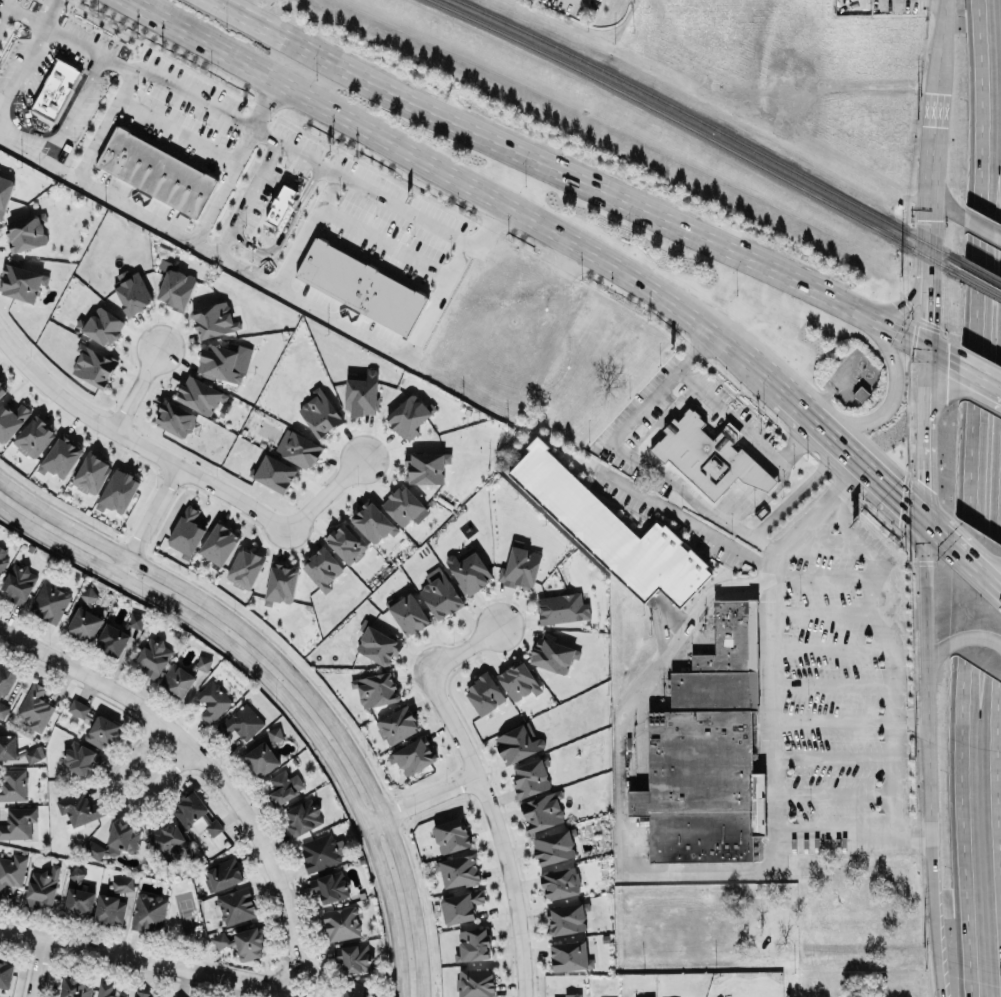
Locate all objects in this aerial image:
road: (4, 18)
road: (34, 25)
road: (939, 43)
road: (21, 73)
building: (57, 90)
road: (171, 92)
road: (73, 108)
railway: (711, 124)
road: (177, 128)
railway: (698, 130)
road: (478, 133)
road: (39, 156)
road: (419, 160)
building: (157, 171)
road: (928, 175)
road: (223, 184)
road: (252, 187)
building: (5, 192)
road: (939, 197)
building: (281, 204)
road: (414, 208)
road: (323, 215)
road: (981, 227)
building: (26, 232)
road: (202, 241)
road: (390, 246)
road: (241, 263)
railway: (980, 270)
building: (21, 280)
railway: (979, 283)
building: (360, 285)
road: (806, 286)
building: (176, 288)
building: (133, 292)
road: (904, 299)
road: (924, 306)
building: (214, 319)
building: (102, 325)
road: (895, 331)
road: (730, 342)
traffic signals: (923, 347)
road: (415, 349)
road: (940, 356)
building: (225, 361)
building: (94, 365)
road: (766, 373)
road: (979, 377)
road: (139, 386)
building: (2, 389)
road: (828, 391)
building: (362, 393)
building: (861, 393)
building: (199, 394)
road: (889, 396)
road: (800, 406)
building: (320, 413)
building: (409, 415)
building: (175, 418)
building: (11, 420)
road: (922, 434)
road: (746, 435)
building: (34, 437)
building: (300, 449)
building: (709, 455)
building: (61, 457)
building: (425, 467)
road: (182, 468)
building: (275, 472)
road: (868, 472)
building: (92, 473)
road: (668, 478)
building: (118, 491)
road: (748, 491)
road: (970, 498)
building: (403, 504)
road: (686, 519)
road: (147, 520)
building: (373, 521)
traffic signals: (922, 522)
building: (611, 530)
building: (187, 531)
road: (936, 534)
road: (765, 541)
building: (346, 542)
building: (219, 543)
building: (4, 556)
building: (520, 566)
building: (245, 567)
building: (322, 568)
road: (975, 569)
building: (469, 570)
road: (823, 575)
building: (19, 582)
building: (282, 582)
building: (441, 596)
building: (50, 601)
building: (82, 601)
road: (820, 607)
building: (562, 608)
building: (409, 613)
road: (873, 616)
building: (85, 623)
road: (973, 634)
building: (113, 640)
building: (378, 644)
road: (924, 645)
road: (828, 647)
building: (552, 653)
building: (154, 655)
road: (934, 655)
building: (203, 663)
road: (290, 677)
building: (6, 679)
building: (177, 680)
building: (519, 681)
road: (833, 686)
building: (376, 689)
road: (278, 692)
building: (484, 693)
building: (213, 700)
road: (775, 703)
building: (36, 707)
building: (3, 708)
road: (835, 719)
building: (242, 721)
building: (95, 724)
building: (397, 725)
road: (994, 729)
building: (275, 733)
building: (518, 742)
building: (8, 746)
building: (708, 750)
building: (27, 753)
building: (415, 755)
building: (80, 757)
building: (262, 758)
road: (835, 758)
road: (215, 774)
road: (894, 774)
building: (531, 777)
road: (620, 780)
building: (13, 784)
building: (285, 786)
road: (482, 790)
road: (837, 792)
road: (121, 795)
road: (429, 797)
road: (927, 798)
building: (79, 808)
building: (543, 810)
building: (196, 814)
building: (303, 818)
road: (373, 821)
building: (19, 822)
building: (451, 835)
building: (124, 836)
building: (170, 842)
building: (554, 846)
road: (929, 848)
building: (319, 852)
building: (12, 870)
building: (459, 870)
building: (224, 873)
building: (74, 877)
building: (561, 882)
building: (122, 884)
building: (43, 886)
building: (330, 887)
building: (79, 901)
building: (236, 905)
building: (461, 906)
building: (110, 908)
building: (149, 912)
building: (566, 918)
building: (341, 922)
road: (934, 933)
building: (222, 940)
building: (249, 943)
building: (473, 944)
building: (570, 955)
building: (353, 957)
road: (136, 961)
road: (39, 970)
building: (6, 974)
building: (476, 982)
building: (76, 987)
building: (105, 990)
building: (358, 990)
building: (143, 994)
building: (572, 994)
building: (649, 996)

